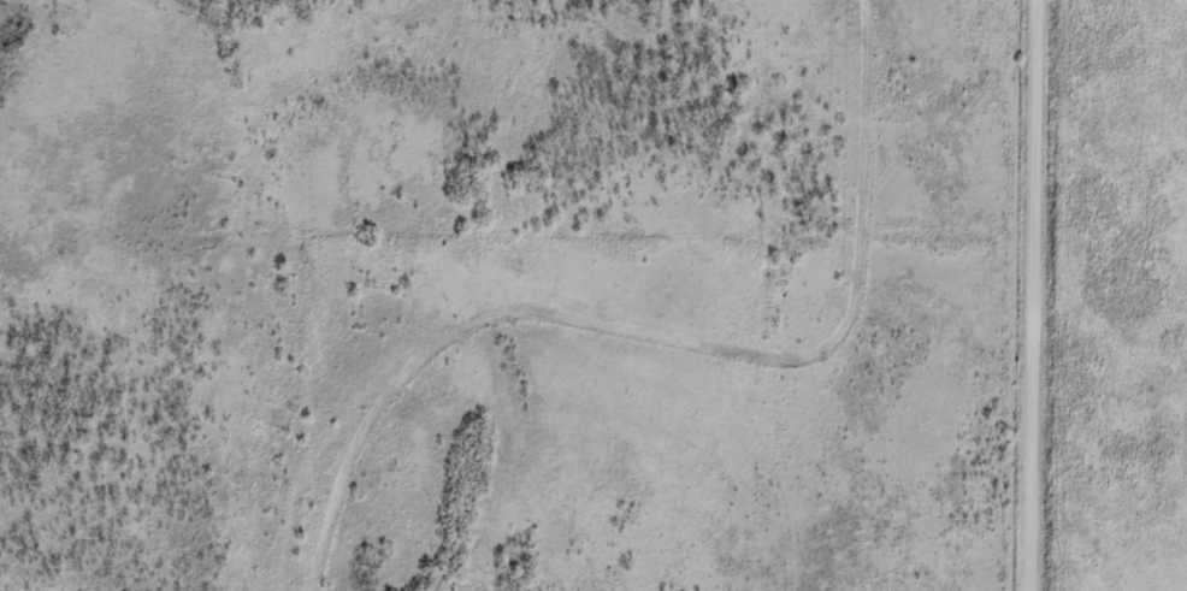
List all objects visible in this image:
road: (1039, 295)

